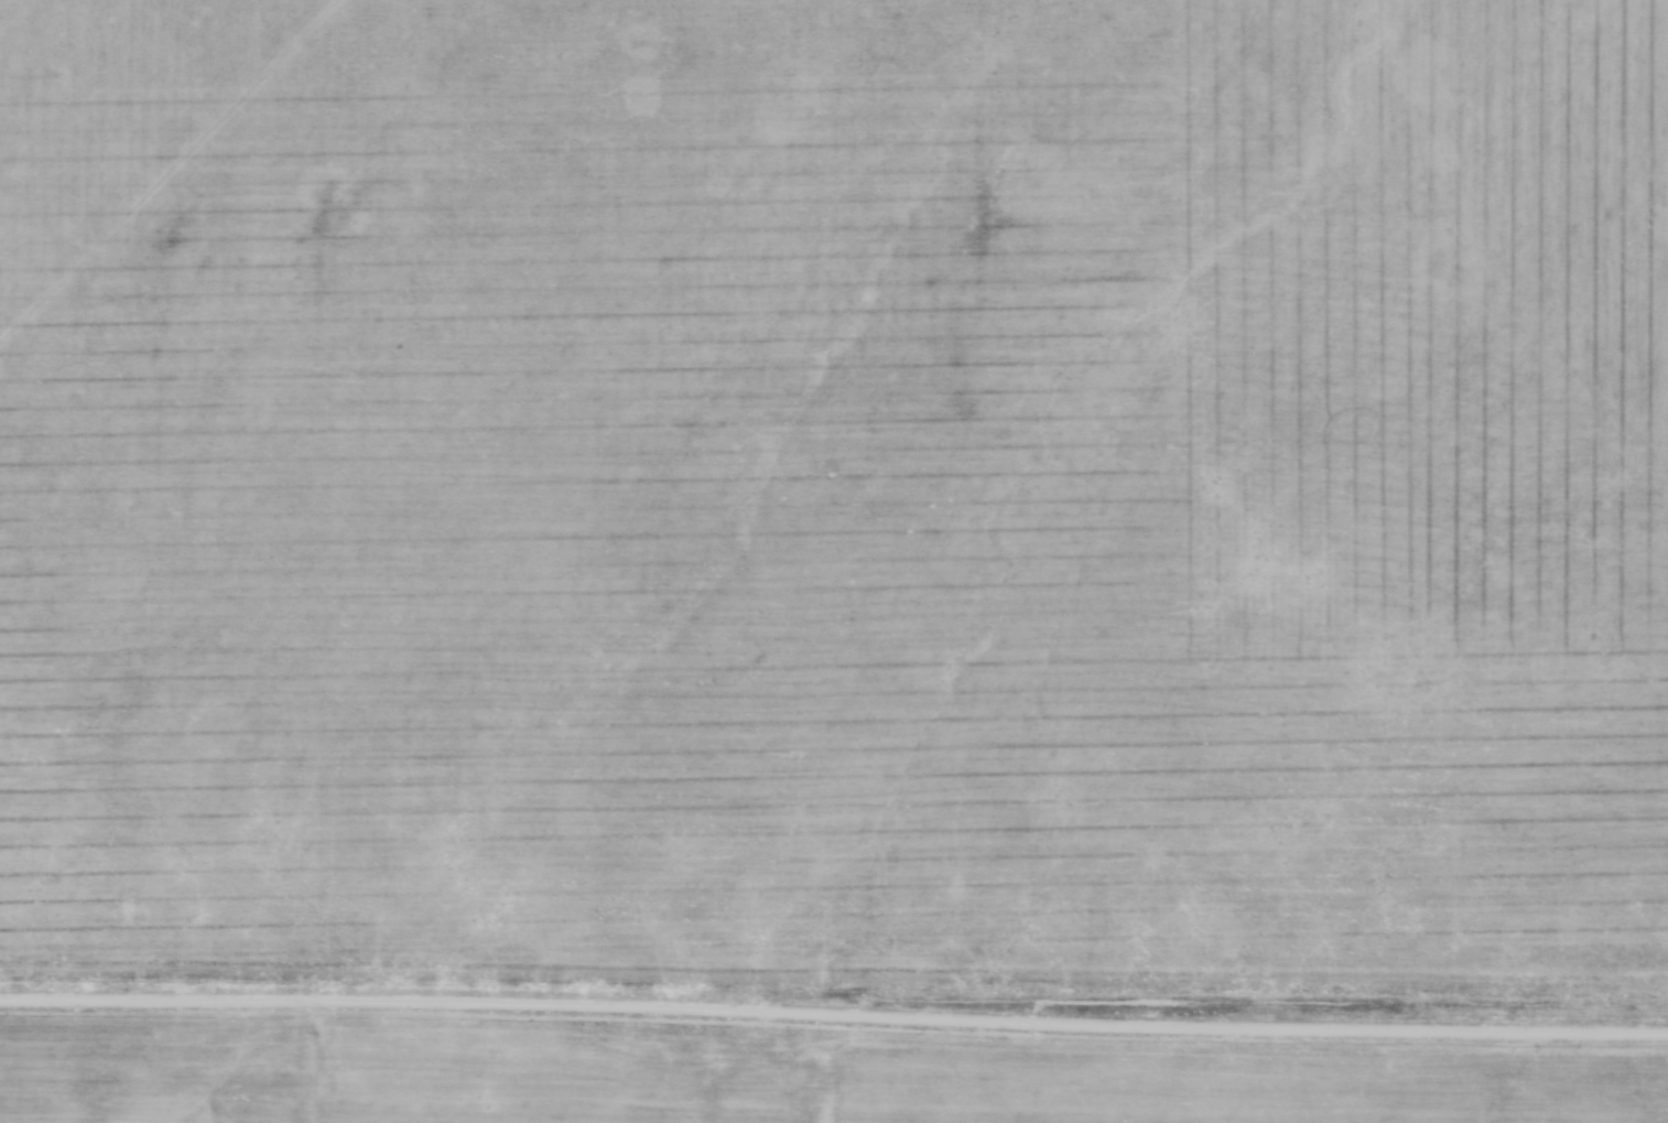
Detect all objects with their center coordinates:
road: (834, 1016)

